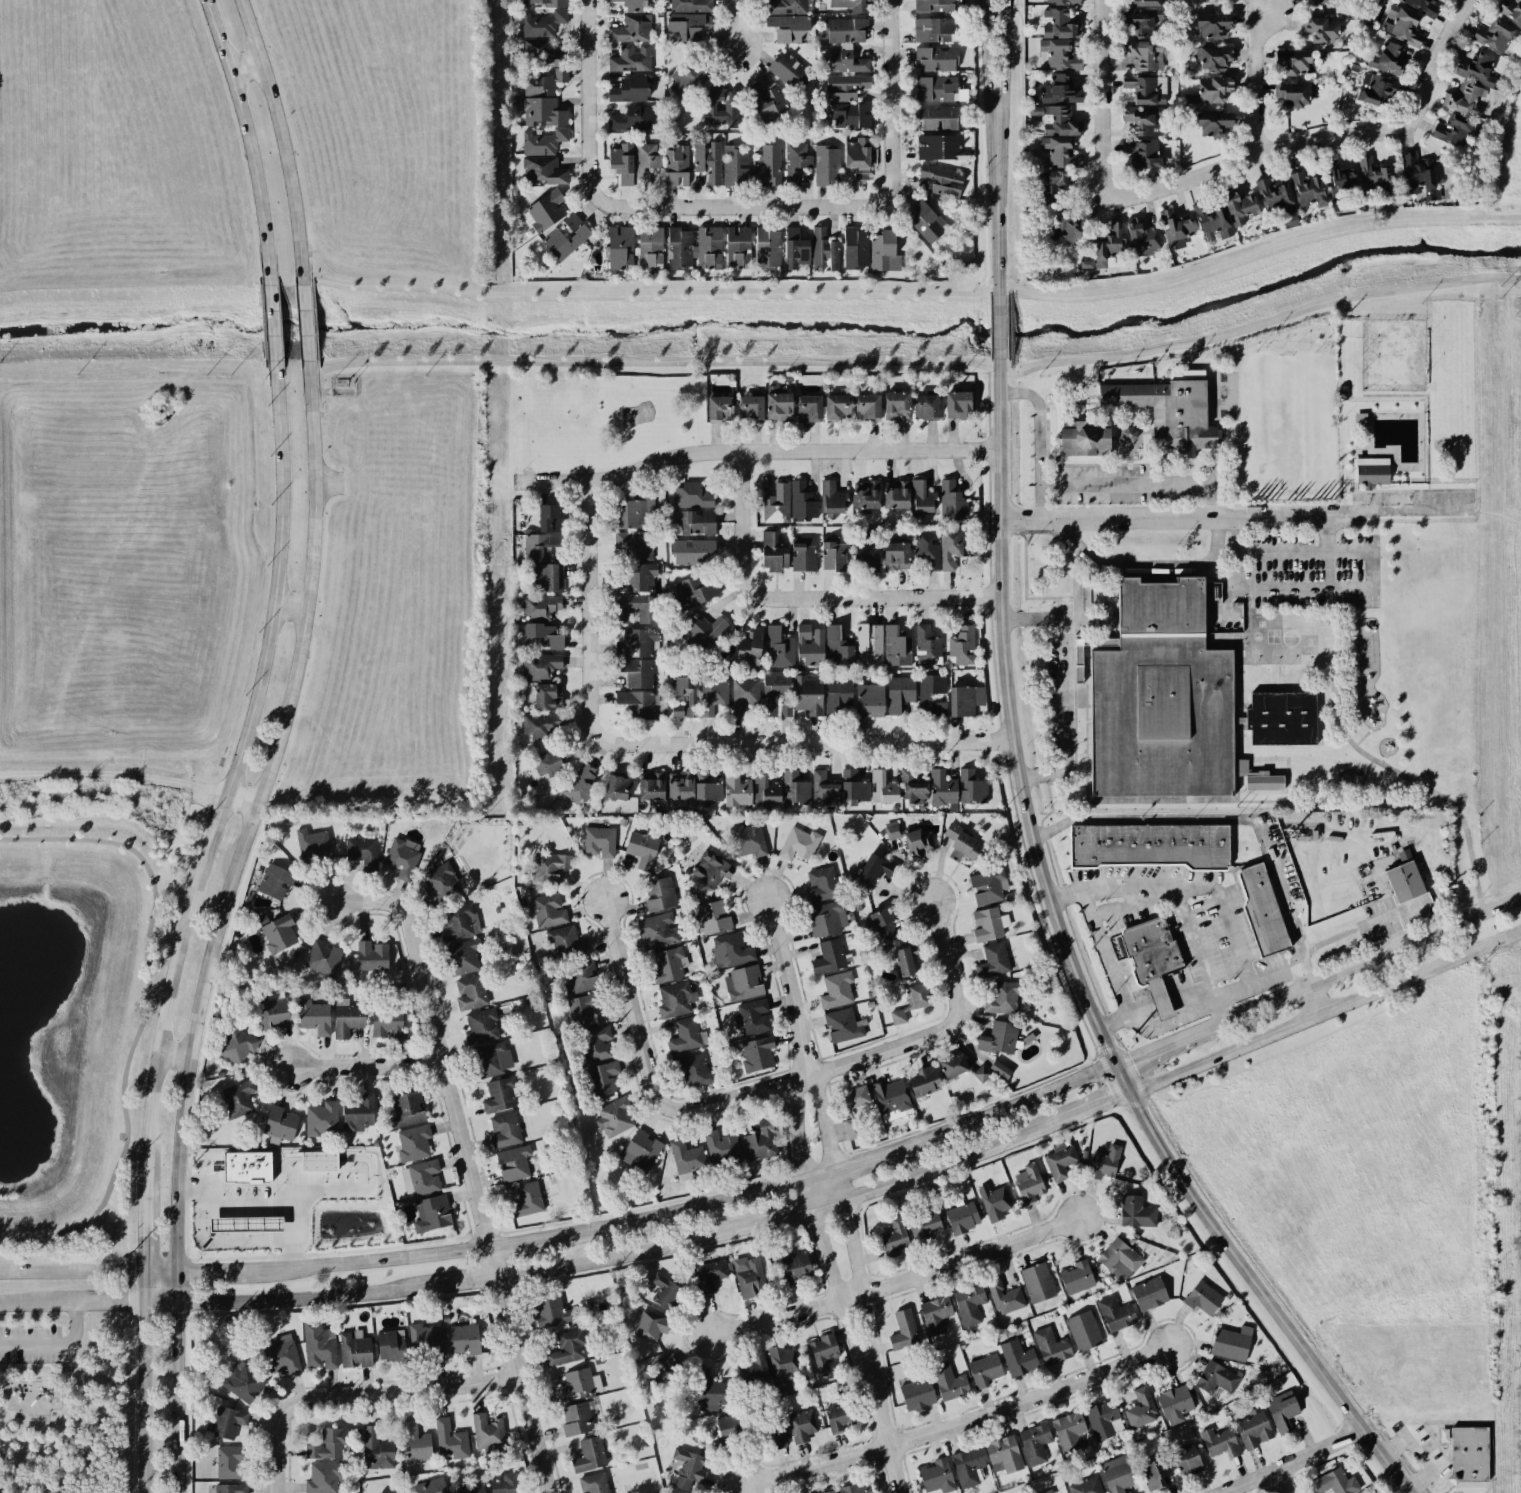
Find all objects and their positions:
building: (1305, 0)
building: (1319, 1)
building: (1063, 2)
building: (547, 3)
building: (1145, 3)
building: (851, 5)
building: (934, 5)
building: (691, 6)
building: (1423, 6)
building: (785, 7)
building: (1511, 11)
building: (631, 24)
road: (738, 24)
building: (1059, 24)
building: (1212, 25)
building: (1401, 25)
building: (686, 27)
building: (789, 28)
building: (1322, 29)
building: (845, 30)
building: (932, 30)
building: (1497, 36)
road: (1104, 53)
building: (1060, 54)
building: (1145, 55)
building: (631, 57)
building: (1385, 57)
building: (936, 59)
building: (1212, 59)
building: (845, 60)
building: (1293, 61)
road: (243, 66)
building: (1477, 70)
building: (789, 71)
building: (685, 81)
road: (1257, 81)
building: (543, 83)
building: (845, 87)
building: (936, 88)
building: (630, 89)
building: (1373, 89)
building: (1060, 90)
building: (1210, 90)
road: (989, 93)
road: (1004, 93)
building: (1295, 94)
building: (1464, 99)
building: (765, 101)
building: (721, 105)
building: (543, 112)
building: (850, 115)
building: (939, 117)
building: (632, 119)
building: (1055, 119)
building: (1140, 120)
building: (1213, 123)
building: (1453, 130)
road: (247, 140)
road: (589, 140)
road: (280, 141)
road: (1285, 146)
building: (937, 147)
road: (1022, 149)
building: (1060, 152)
building: (1143, 154)
building: (859, 157)
building: (645, 161)
building: (708, 161)
building: (795, 162)
building: (622, 163)
building: (826, 165)
building: (676, 166)
building: (734, 166)
building: (769, 166)
building: (543, 170)
building: (1375, 177)
building: (1418, 177)
building: (942, 181)
building: (1340, 181)
building: (1053, 184)
building: (1307, 188)
building: (1275, 196)
road: (881, 199)
building: (1240, 207)
building: (544, 212)
building: (926, 221)
building: (1212, 222)
building: (1064, 229)
building: (1175, 230)
building: (554, 237)
building: (1142, 238)
road: (997, 241)
building: (737, 246)
building: (620, 247)
building: (650, 247)
building: (819, 247)
building: (694, 248)
building: (855, 248)
building: (1110, 248)
building: (767, 249)
building: (795, 249)
building: (884, 252)
building: (833, 256)
road: (910, 293)
road: (305, 328)
road: (1010, 328)
road: (272, 329)
road: (997, 334)
park: (1393, 356)
road: (921, 364)
building: (1193, 374)
park: (1407, 399)
building: (778, 404)
building: (957, 405)
building: (896, 406)
building: (836, 407)
building: (867, 407)
building: (925, 407)
building: (809, 408)
building: (719, 409)
building: (750, 409)
building: (1167, 412)
road: (1037, 438)
building: (1082, 438)
road: (1009, 439)
road: (756, 450)
building: (1371, 472)
road: (1137, 486)
building: (895, 494)
building: (865, 495)
building: (693, 496)
building: (832, 498)
building: (922, 499)
building: (802, 502)
building: (951, 502)
building: (777, 504)
building: (637, 510)
road: (1236, 517)
building: (548, 518)
building: (697, 522)
road: (1237, 536)
building: (634, 545)
building: (540, 546)
building: (950, 548)
building: (927, 549)
building: (692, 551)
building: (772, 552)
building: (833, 553)
road: (1303, 554)
building: (803, 555)
road: (1326, 555)
building: (896, 556)
building: (866, 557)
road: (1140, 567)
road: (1237, 573)
road: (1370, 574)
building: (545, 577)
building: (637, 578)
building: (692, 592)
road: (1082, 592)
road: (1303, 593)
road: (805, 598)
building: (540, 606)
building: (636, 606)
road: (289, 607)
building: (622, 617)
road: (1042, 618)
building: (706, 633)
building: (541, 636)
building: (637, 643)
building: (810, 644)
building: (749, 645)
building: (869, 645)
building: (962, 645)
building: (896, 646)
building: (927, 646)
building: (838, 647)
building: (779, 648)
building: (541, 665)
building: (636, 672)
building: (929, 691)
building: (687, 693)
building: (899, 693)
building: (808, 694)
building: (546, 696)
building: (744, 696)
building: (838, 696)
building: (712, 697)
building: (1176, 699)
building: (869, 700)
building: (965, 700)
building: (637, 703)
building: (939, 709)
building: (677, 710)
road: (1064, 716)
building: (543, 724)
road: (679, 743)
building: (552, 760)
road: (113, 774)
building: (1262, 781)
road: (1414, 783)
building: (580, 784)
building: (680, 785)
building: (650, 786)
building: (913, 786)
building: (617, 787)
building: (706, 787)
building: (854, 787)
building: (824, 788)
building: (883, 788)
building: (942, 788)
building: (971, 788)
building: (765, 789)
building: (736, 790)
building: (795, 790)
road: (239, 800)
road: (248, 821)
road: (1231, 823)
building: (892, 830)
building: (748, 840)
building: (599, 841)
building: (799, 844)
building: (917, 844)
building: (961, 844)
building: (1149, 845)
building: (312, 846)
building: (642, 848)
building: (362, 852)
building: (402, 856)
building: (549, 866)
building: (712, 868)
building: (873, 868)
building: (1404, 880)
building: (275, 881)
building: (440, 882)
building: (822, 884)
building: (988, 886)
road: (1116, 886)
building: (659, 894)
road: (1151, 902)
building: (1261, 909)
building: (546, 910)
building: (711, 917)
building: (827, 918)
building: (879, 922)
building: (457, 923)
building: (988, 924)
road: (183, 928)
building: (657, 931)
building: (278, 932)
road: (1232, 941)
building: (566, 943)
building: (730, 950)
building: (372, 956)
building: (829, 957)
building: (323, 958)
building: (462, 958)
building: (1152, 959)
road: (1199, 959)
building: (993, 960)
building: (905, 963)
building: (668, 965)
road: (1108, 967)
building: (580, 976)
road: (1079, 976)
road: (626, 980)
building: (742, 983)
road: (954, 984)
building: (836, 990)
building: (470, 992)
building: (918, 996)
building: (1001, 998)
building: (675, 1000)
road: (1312, 1001)
road: (1214, 1007)
building: (272, 1009)
building: (583, 1009)
road: (144, 1016)
building: (898, 1016)
building: (314, 1017)
building: (752, 1017)
building: (346, 1018)
building: (387, 1024)
building: (842, 1026)
building: (481, 1027)
building: (684, 1035)
park: (80, 1037)
building: (998, 1038)
building: (595, 1044)
building: (237, 1045)
building: (757, 1055)
road: (173, 1057)
building: (492, 1059)
road: (367, 1065)
building: (953, 1065)
traffic signals: (1117, 1066)
building: (1000, 1069)
building: (693, 1070)
building: (981, 1073)
building: (602, 1078)
building: (924, 1081)
road: (764, 1090)
traffic signals: (1129, 1092)
road: (1047, 1093)
building: (499, 1095)
building: (855, 1096)
building: (237, 1099)
building: (892, 1099)
building: (407, 1109)
building: (359, 1112)
building: (614, 1117)
building: (322, 1119)
road: (1050, 1122)
building: (280, 1123)
building: (850, 1129)
building: (504, 1130)
building: (760, 1141)
building: (413, 1142)
building: (721, 1148)
building: (640, 1151)
building: (686, 1157)
building: (1059, 1160)
building: (318, 1161)
road: (470, 1163)
building: (513, 1163)
building: (1104, 1163)
building: (246, 1167)
building: (420, 1177)
building: (1028, 1183)
road: (842, 1192)
building: (526, 1199)
building: (994, 1202)
road: (257, 1208)
building: (1136, 1212)
building: (432, 1213)
building: (962, 1218)
building: (245, 1225)
road: (123, 1227)
building: (924, 1227)
building: (894, 1238)
road: (824, 1252)
building: (1119, 1259)
road: (367, 1260)
building: (796, 1268)
road: (87, 1272)
building: (709, 1275)
building: (748, 1277)
building: (1076, 1277)
road: (894, 1282)
building: (1037, 1282)
road: (133, 1286)
road: (175, 1288)
building: (664, 1292)
building: (1149, 1294)
building: (1005, 1297)
building: (1203, 1298)
road: (283, 1301)
building: (969, 1304)
building: (551, 1312)
building: (935, 1314)
building: (1115, 1314)
building: (651, 1325)
building: (903, 1330)
building: (1083, 1331)
road: (175, 1335)
building: (425, 1339)
building: (463, 1339)
road: (53, 1343)
building: (1231, 1343)
parking lot: (31, 1344)
building: (390, 1346)
building: (1051, 1346)
road: (119, 1347)
building: (318, 1347)
building: (354, 1349)
building: (565, 1349)
building: (824, 1351)
building: (280, 1355)
building: (1017, 1358)
building: (753, 1368)
road: (31, 1369)
building: (784, 1370)
building: (984, 1370)
road: (17, 1375)
building: (1216, 1378)
building: (243, 1381)
building: (949, 1382)
building: (660, 1384)
building: (577, 1385)
road: (404, 1389)
building: (917, 1394)
building: (710, 1395)
building: (1174, 1402)
park: (66, 1404)
building: (1140, 1408)
road: (110, 1412)
building: (1282, 1413)
building: (837, 1418)
building: (579, 1419)
building: (1102, 1419)
building: (225, 1422)
road: (958, 1422)
building: (801, 1426)
building: (726, 1427)
road: (175, 1429)
building: (487, 1431)
building: (1253, 1431)
building: (1069, 1432)
building: (778, 1435)
building: (450, 1440)
building: (1220, 1442)
building: (416, 1443)
building: (328, 1444)
building: (1035, 1444)
road: (279, 1449)
building: (376, 1450)
road: (1424, 1453)
building: (1469, 1454)
building: (589, 1455)
building: (1004, 1455)
building: (230, 1462)
road: (1295, 1462)
building: (1187, 1464)
building: (967, 1467)
building: (688, 1468)
building: (1155, 1473)
building: (1118, 1474)
building: (937, 1476)
building: (323, 1477)
building: (1334, 1482)
building: (593, 1483)
road: (1279, 1483)
building: (506, 1484)
building: (431, 1486)
building: (1086, 1486)
building: (230, 1488)
building: (471, 1488)
building: (856, 1488)
building: (382, 1491)
building: (829, 1491)
building: (1047, 1491)

